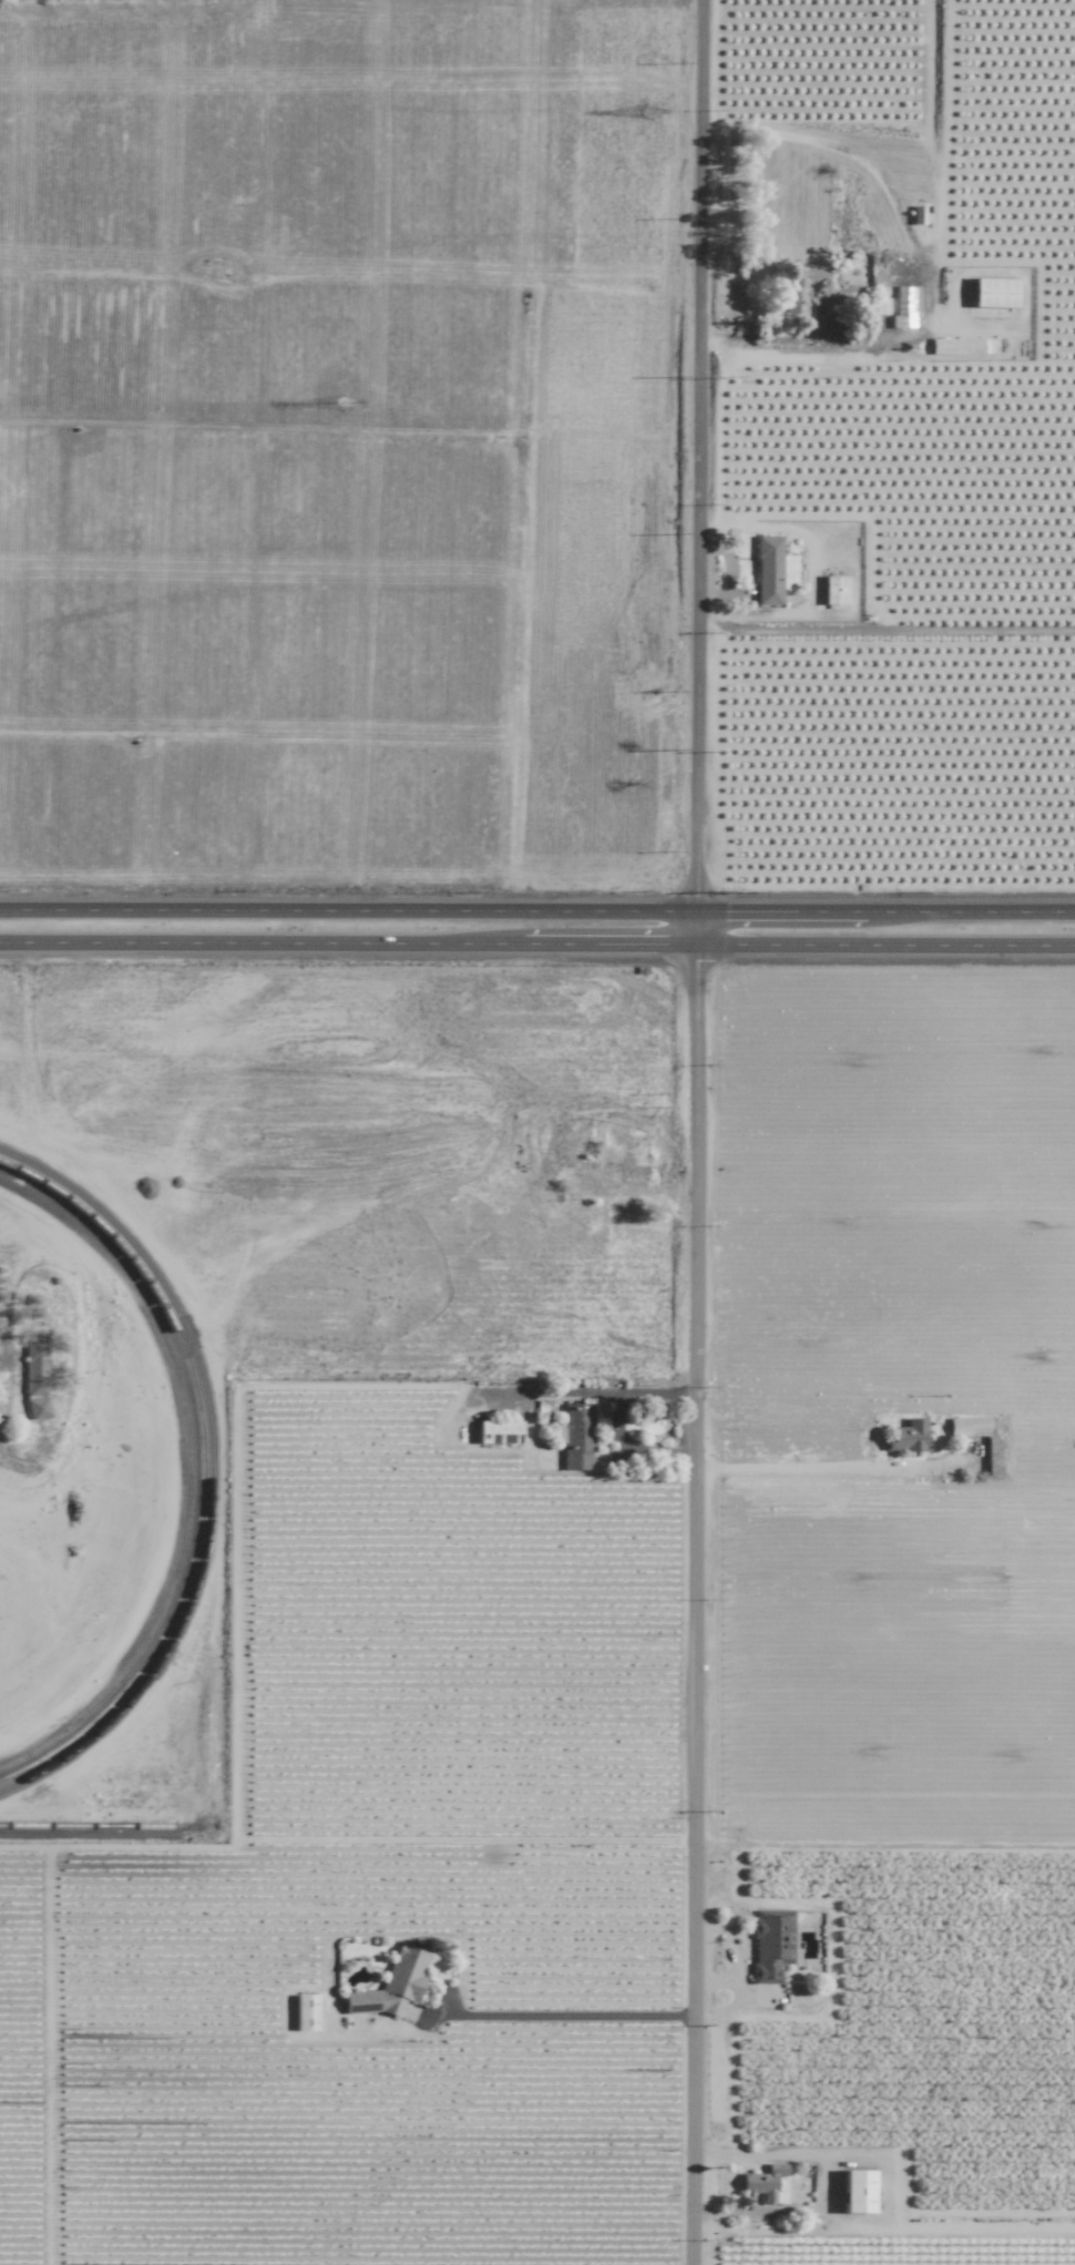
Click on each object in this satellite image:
power tower: (646, 112)
building: (917, 214)
building: (798, 290)
building: (993, 293)
building: (872, 306)
building: (904, 308)
road: (786, 340)
building: (962, 346)
power tower: (339, 402)
building: (767, 570)
building: (833, 590)
road: (536, 911)
road: (536, 943)
road: (29, 1071)
road: (698, 1132)
building: (33, 1377)
road: (575, 1392)
road: (615, 1418)
building: (966, 1426)
building: (498, 1432)
building: (575, 1436)
building: (907, 1436)
road: (813, 1466)
road: (888, 1847)
building: (769, 1943)
building: (391, 1985)
building: (305, 2012)
road: (573, 2014)
building: (762, 2184)
building: (856, 2191)

